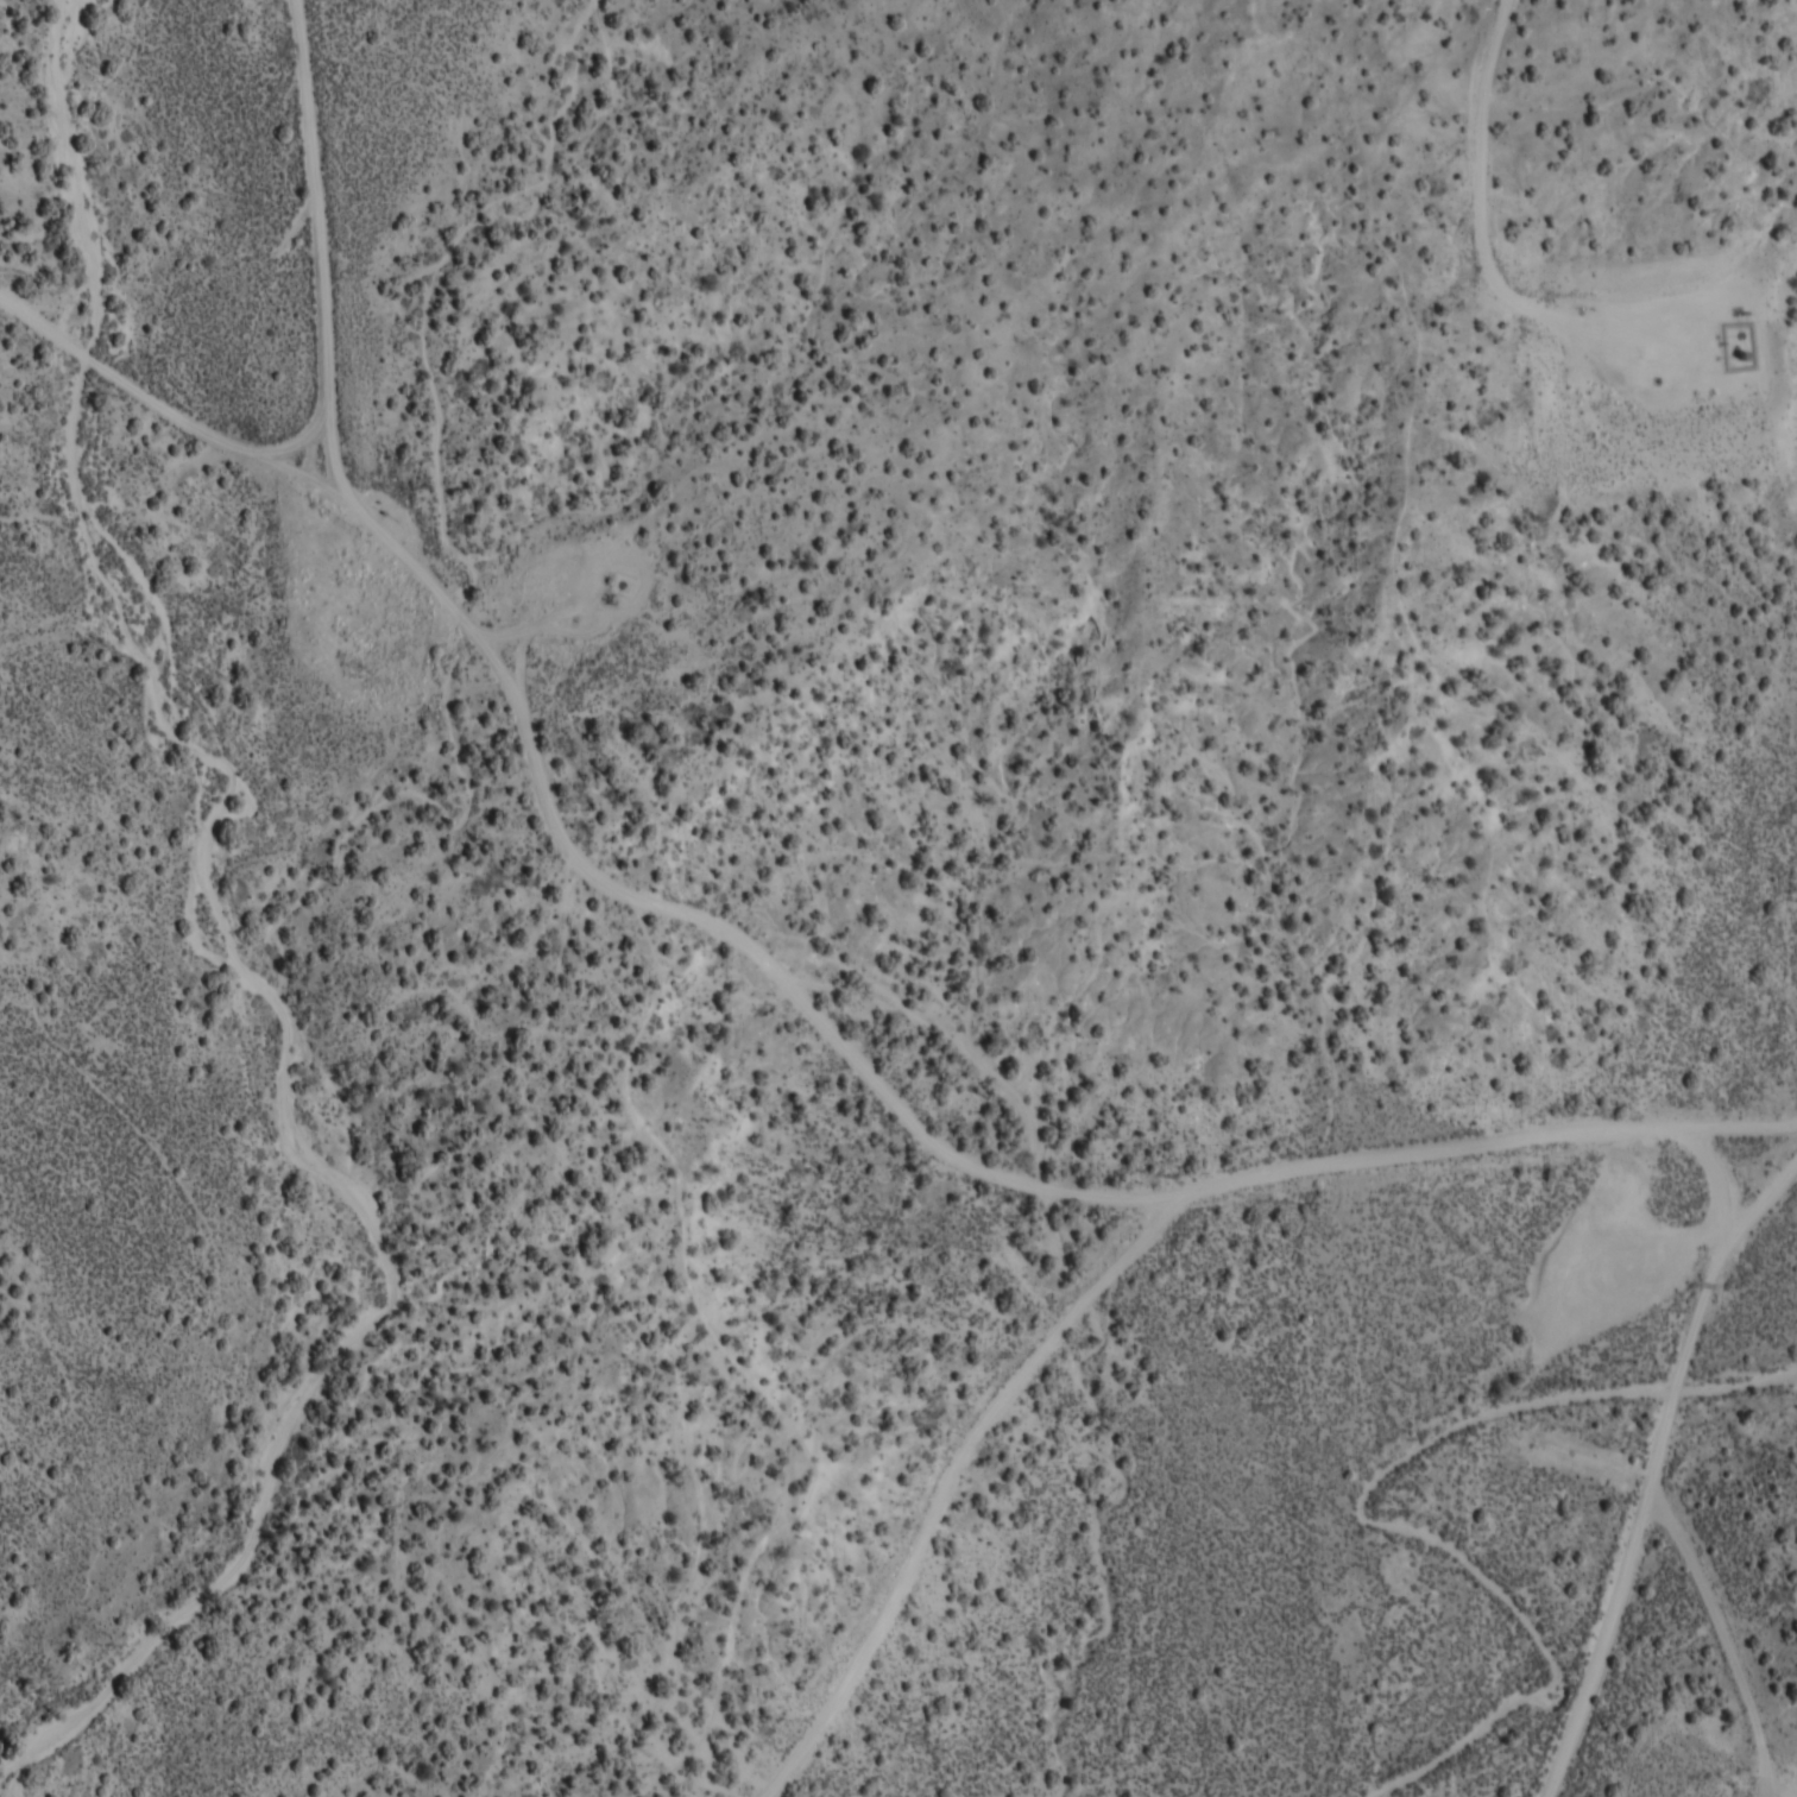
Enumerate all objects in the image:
road: (170, 403)
river: (217, 946)
road: (770, 960)
road: (1123, 1281)
road: (1644, 1432)
road: (1055, 1451)
river: (1385, 1496)

